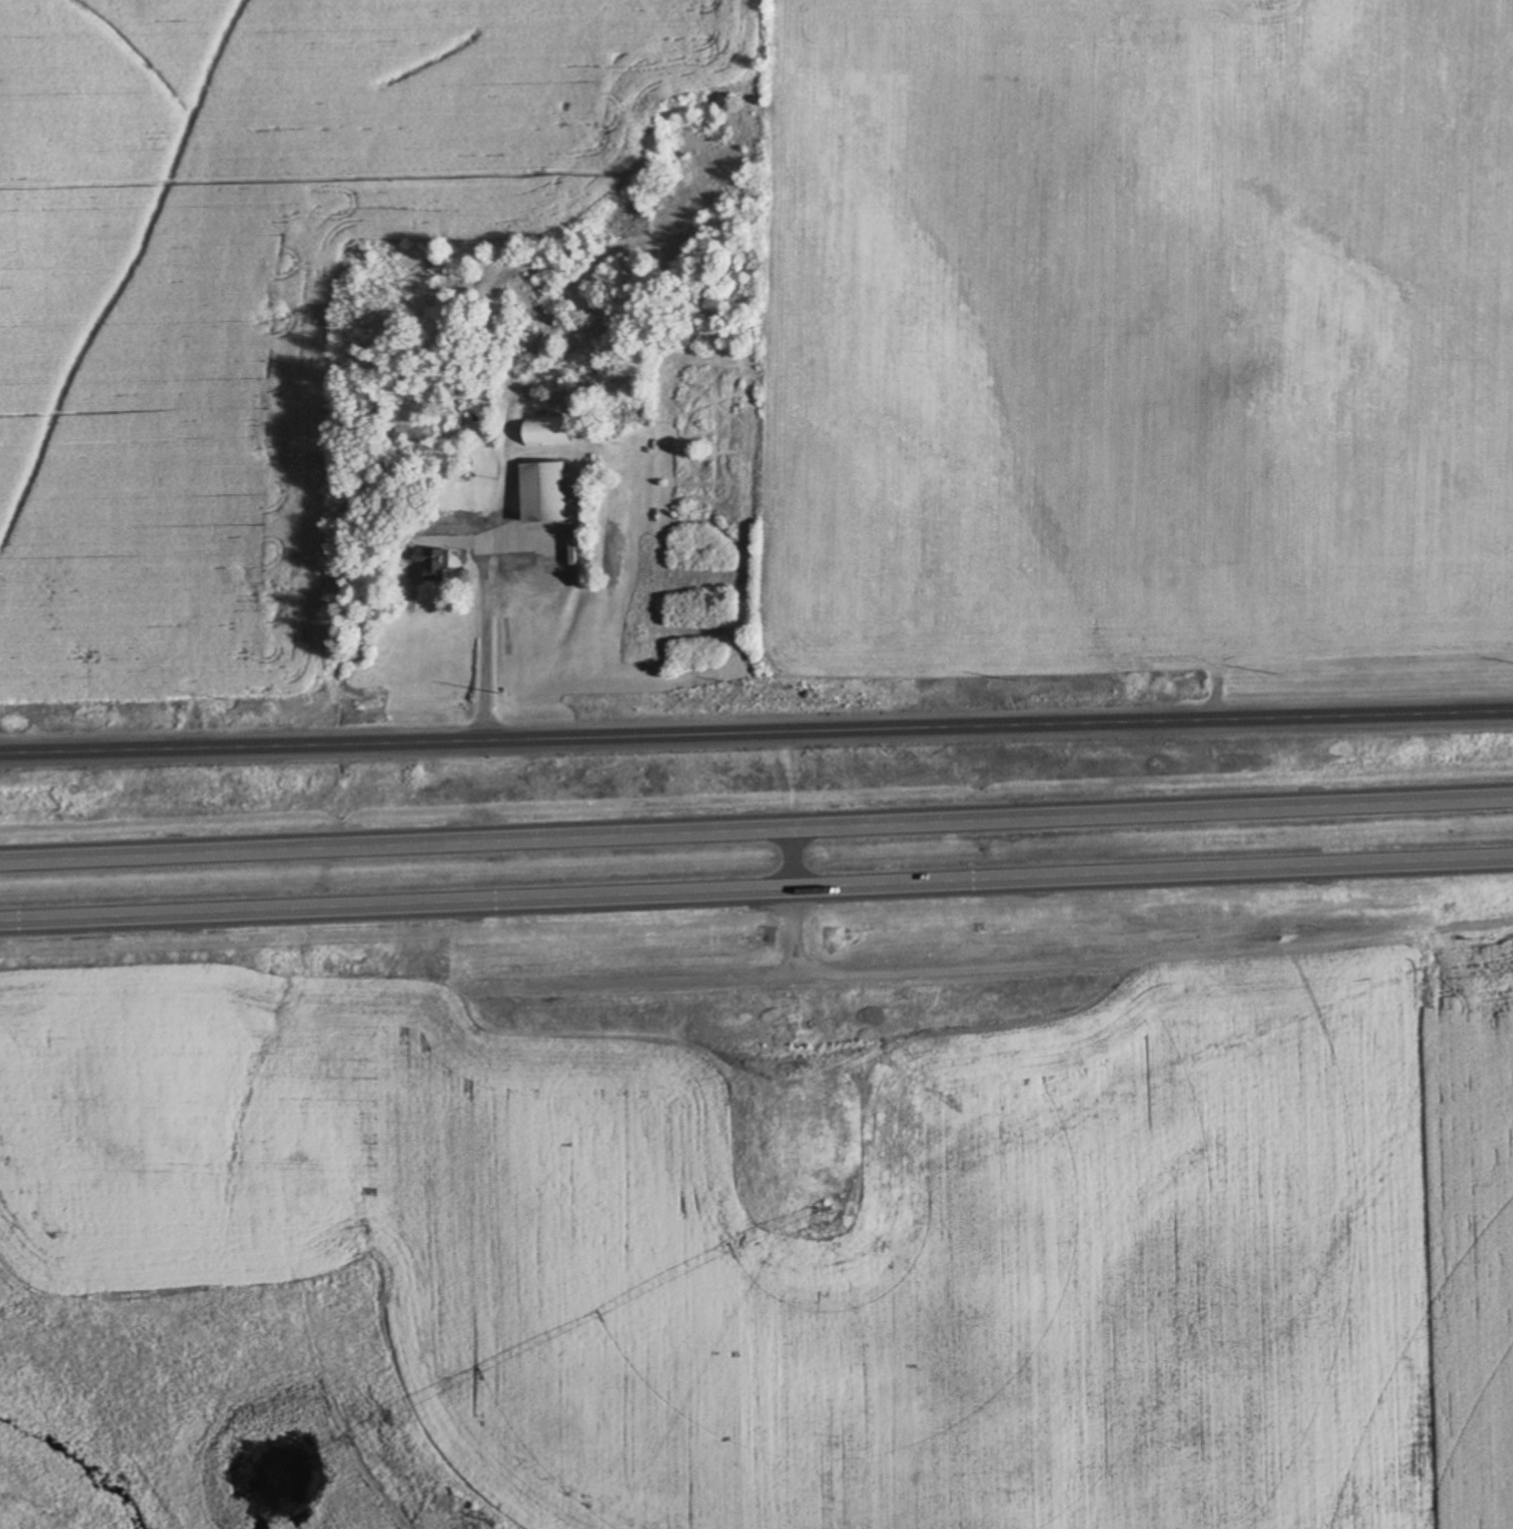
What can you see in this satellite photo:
crop: (800, 320)
building: (552, 435)
building: (549, 498)
building: (434, 563)
road: (756, 739)
building: (1506, 802)
road: (756, 819)
road: (756, 898)
crop: (834, 1218)

